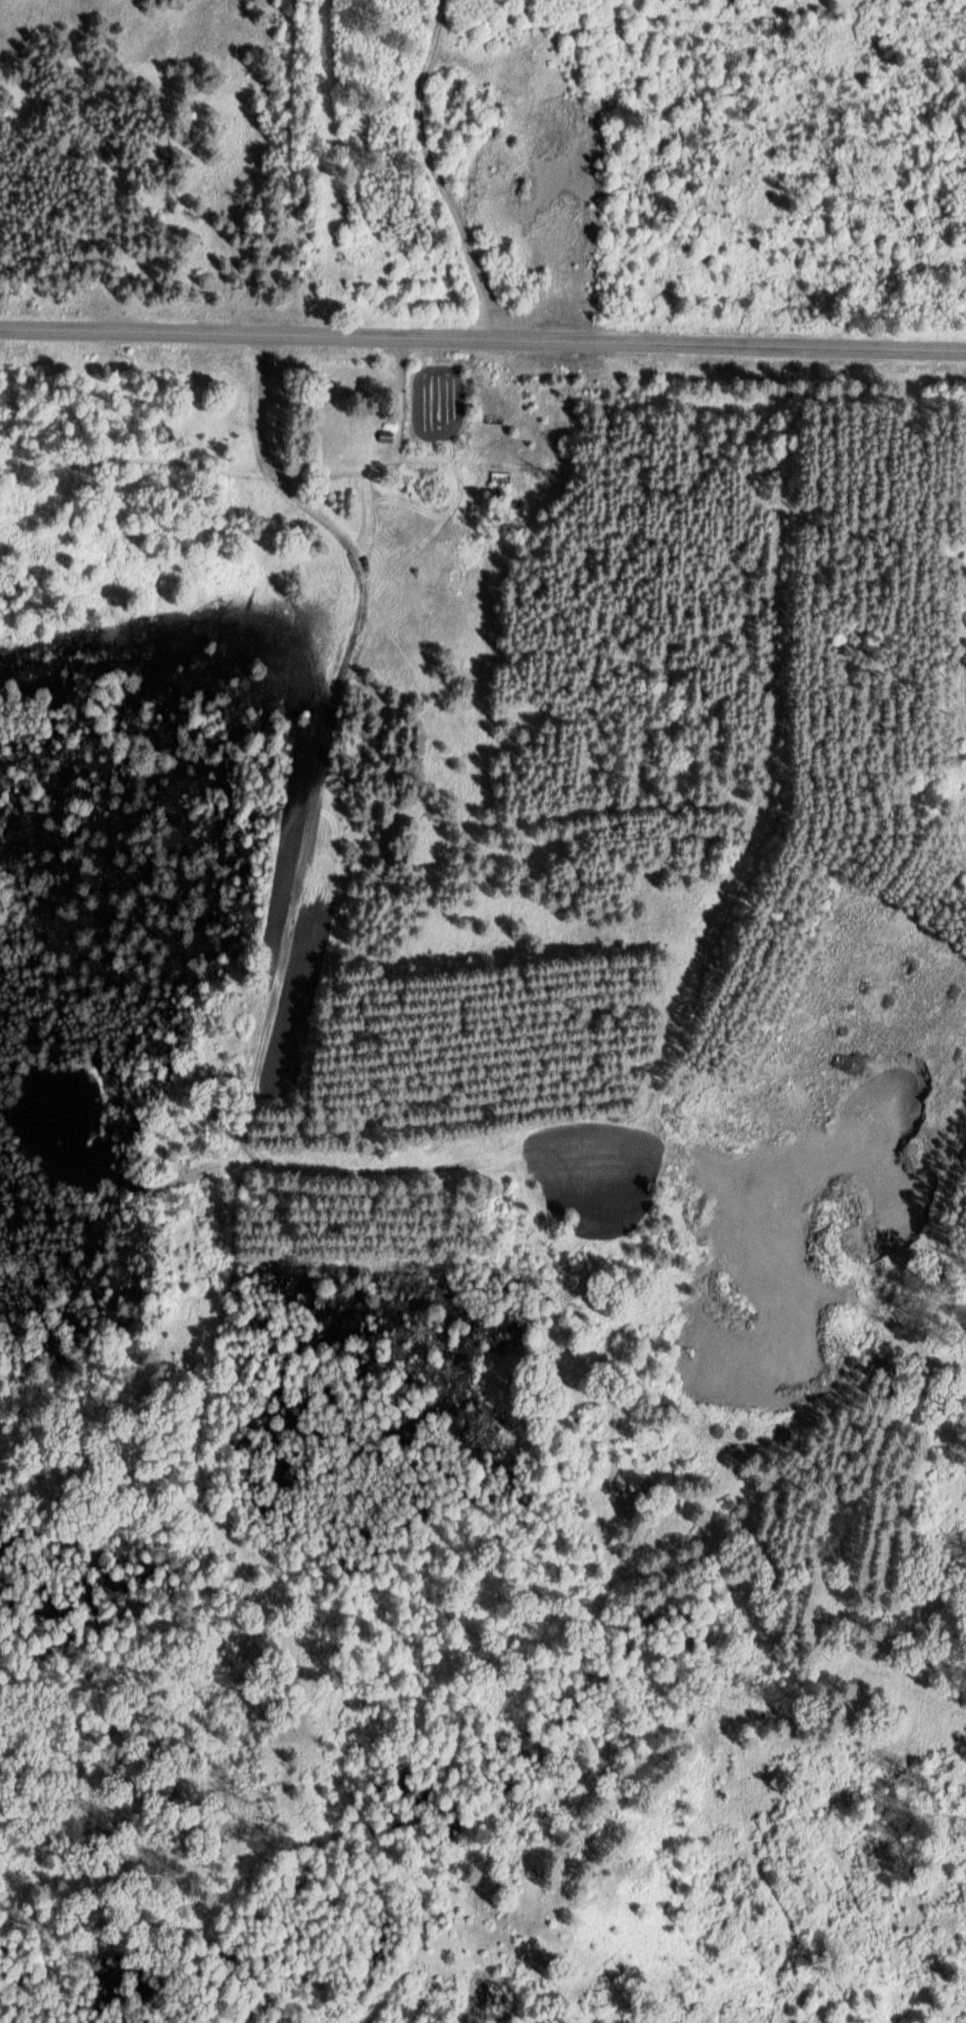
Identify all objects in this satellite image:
road: (443, 134)
road: (483, 336)
building: (388, 436)
building: (499, 486)

